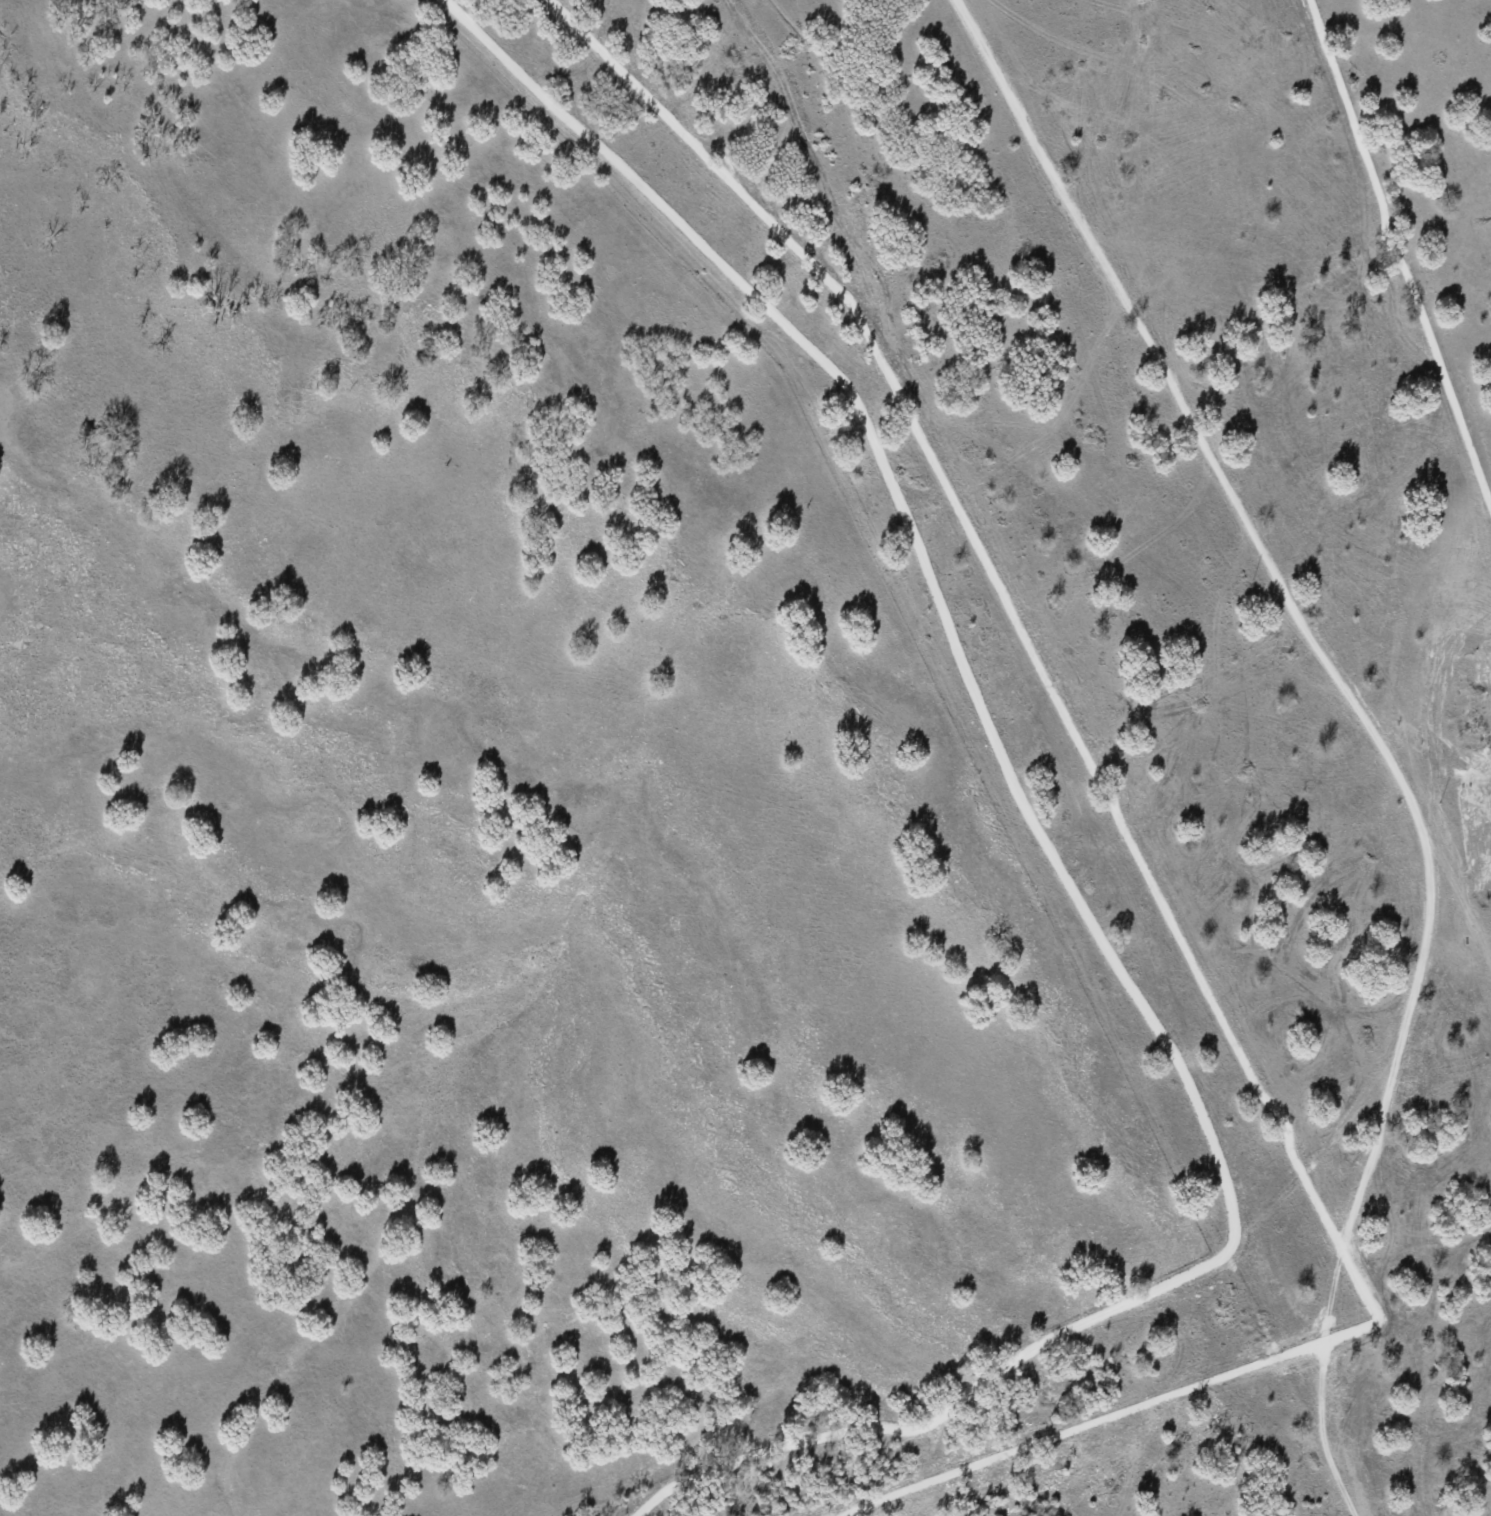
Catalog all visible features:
road: (1364, 721)
road: (1130, 966)

